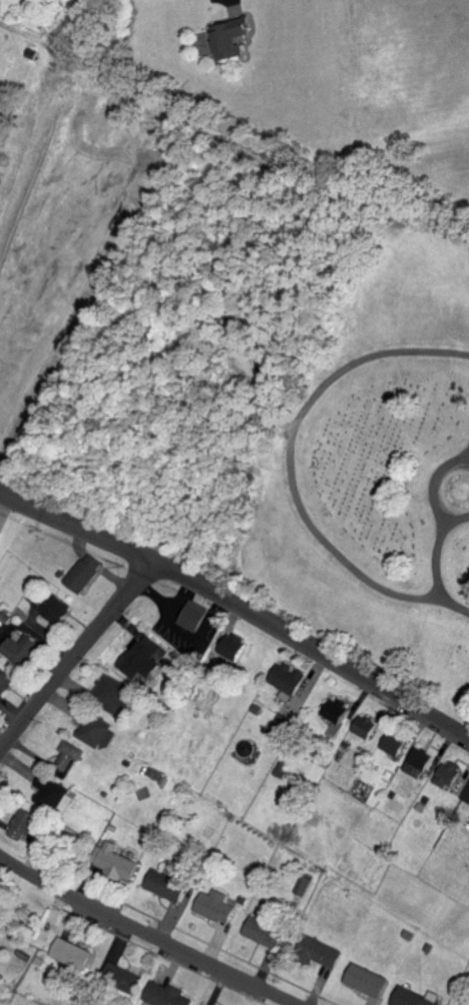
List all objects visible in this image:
building: (229, 36)
park: (370, 454)
road: (288, 470)
road: (432, 485)
building: (0, 533)
road: (435, 554)
building: (83, 572)
building: (55, 609)
road: (239, 612)
building: (199, 619)
building: (234, 646)
building: (21, 651)
building: (141, 658)
road: (74, 659)
building: (287, 680)
building: (5, 681)
building: (111, 693)
building: (335, 710)
building: (363, 726)
building: (279, 728)
building: (92, 729)
building: (392, 743)
building: (69, 755)
building: (417, 762)
building: (446, 775)
building: (50, 792)
building: (466, 795)
building: (23, 825)
building: (117, 862)
building: (1, 882)
building: (165, 885)
building: (301, 885)
building: (214, 906)
building: (263, 932)
road: (144, 934)
building: (318, 952)
building: (72, 953)
building: (121, 977)
building: (366, 981)
building: (165, 995)
building: (411, 998)
park: (23, 1000)

